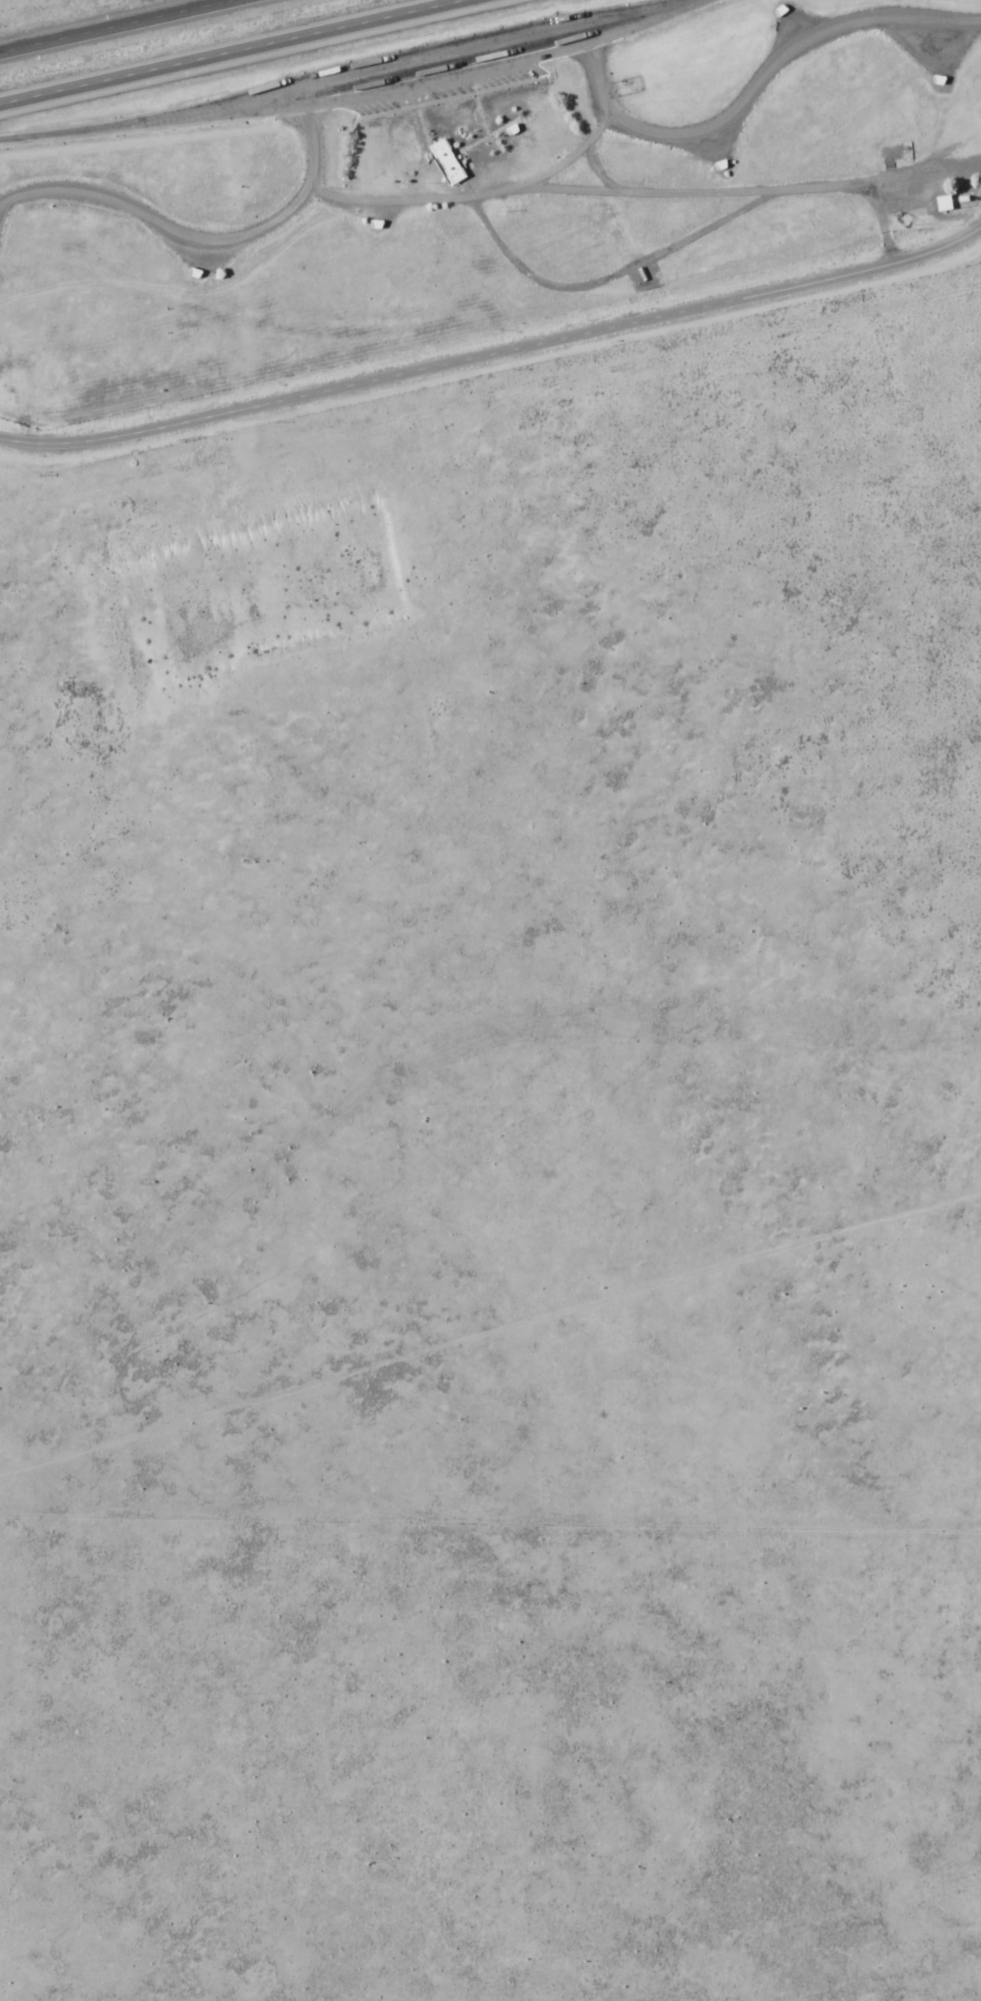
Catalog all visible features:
road: (119, 26)
road: (454, 48)
road: (229, 51)
parking lot: (448, 66)
road: (471, 72)
road: (752, 83)
road: (121, 126)
building: (443, 161)
building: (462, 165)
road: (692, 195)
road: (471, 198)
road: (225, 237)
road: (493, 358)

